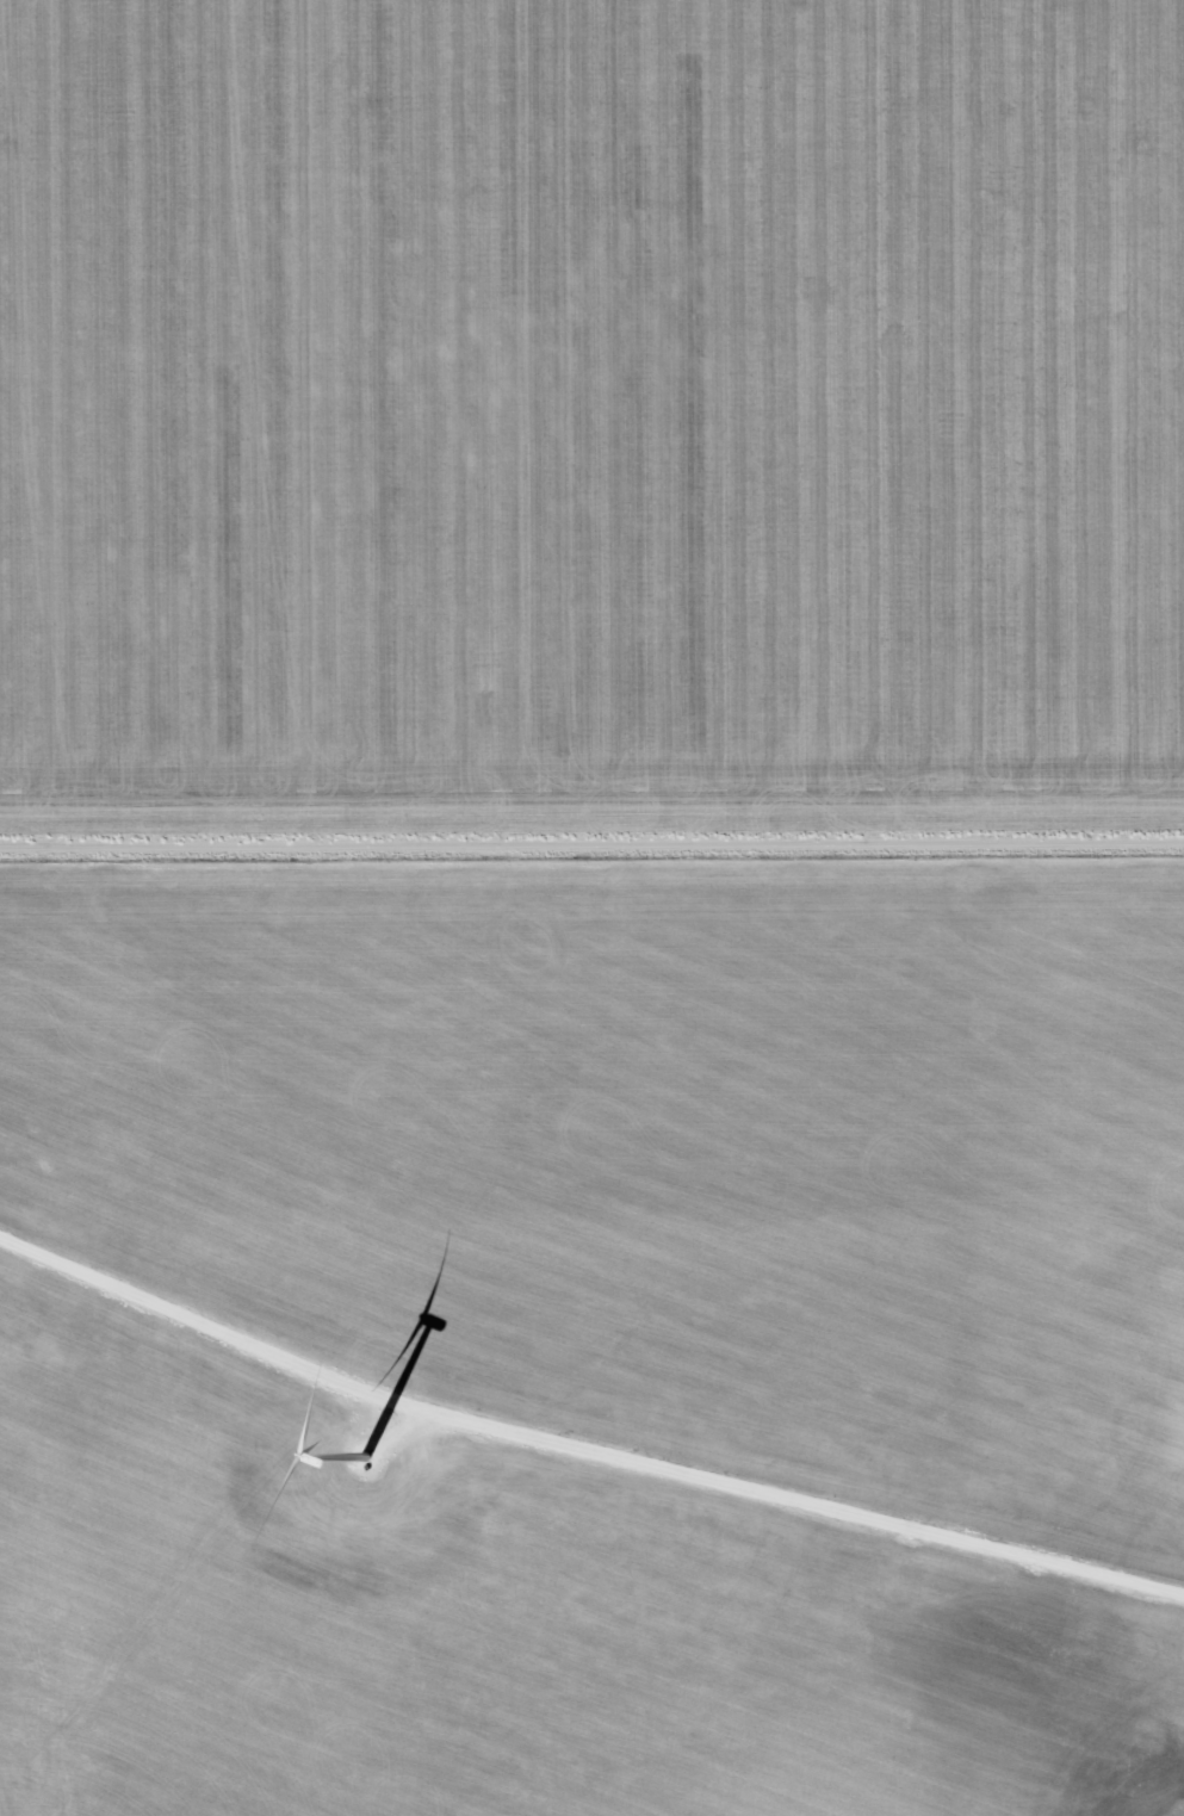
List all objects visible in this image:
road: (591, 848)
road: (398, 1428)
road: (581, 1449)
wind turbine: (362, 1464)

